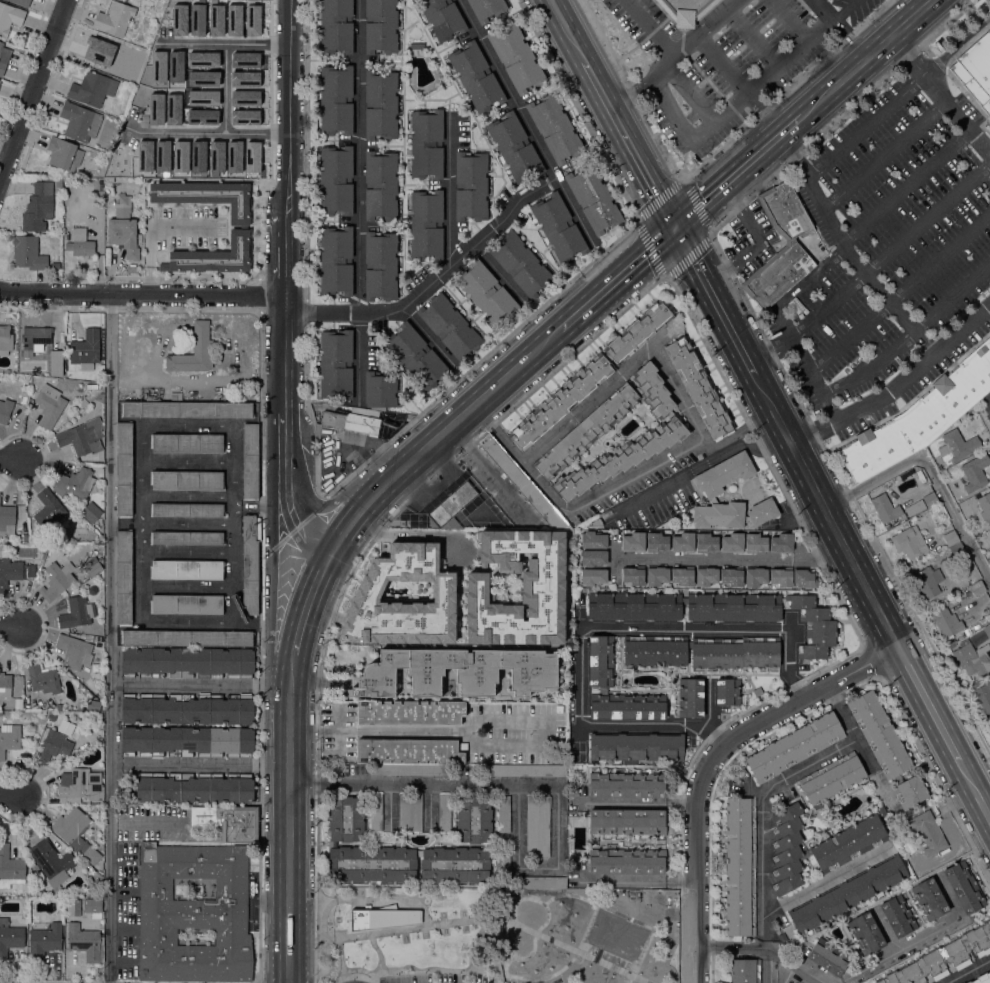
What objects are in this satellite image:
building: (416, 0)
building: (21, 2)
building: (487, 8)
building: (685, 8)
road: (846, 10)
building: (703, 11)
building: (9, 17)
building: (114, 18)
building: (442, 18)
road: (790, 21)
building: (380, 26)
building: (336, 27)
road: (650, 27)
road: (841, 29)
road: (567, 30)
road: (702, 30)
road: (754, 38)
road: (227, 45)
building: (1, 46)
building: (415, 49)
building: (515, 57)
road: (867, 58)
road: (723, 65)
road: (24, 66)
building: (2, 67)
building: (975, 70)
building: (476, 76)
road: (764, 81)
road: (52, 85)
building: (92, 88)
road: (642, 89)
road: (693, 91)
road: (33, 92)
road: (940, 94)
building: (336, 99)
road: (757, 101)
building: (380, 105)
road: (671, 110)
road: (774, 120)
road: (751, 121)
building: (80, 122)
road: (526, 124)
road: (866, 127)
building: (554, 128)
road: (231, 131)
building: (427, 144)
road: (630, 144)
building: (514, 147)
building: (63, 153)
road: (884, 155)
road: (357, 156)
building: (210, 167)
road: (738, 173)
building: (336, 180)
building: (58, 182)
building: (470, 185)
building: (380, 186)
road: (447, 186)
road: (813, 191)
building: (593, 199)
building: (123, 200)
building: (38, 207)
road: (259, 216)
road: (873, 219)
building: (426, 224)
building: (240, 227)
building: (558, 228)
traffic signals: (676, 229)
building: (123, 232)
road: (295, 236)
building: (138, 239)
building: (80, 242)
road: (759, 243)
road: (891, 252)
building: (28, 253)
building: (790, 255)
building: (336, 260)
building: (520, 264)
building: (55, 265)
building: (380, 266)
road: (436, 271)
road: (496, 271)
road: (617, 281)
building: (487, 293)
road: (900, 293)
road: (147, 297)
road: (889, 300)
road: (714, 302)
road: (626, 308)
building: (449, 327)
building: (637, 331)
road: (424, 332)
road: (909, 334)
building: (5, 338)
building: (41, 344)
building: (85, 349)
road: (770, 350)
building: (193, 351)
building: (416, 356)
road: (357, 357)
building: (336, 364)
road: (806, 365)
road: (671, 382)
road: (898, 386)
building: (698, 387)
building: (380, 389)
building: (653, 390)
building: (149, 394)
building: (176, 396)
road: (989, 396)
building: (560, 401)
road: (587, 404)
building: (49, 405)
building: (5, 410)
building: (187, 410)
railway: (468, 416)
building: (919, 418)
building: (353, 420)
building: (586, 431)
building: (82, 437)
road: (435, 442)
building: (187, 443)
building: (953, 447)
building: (619, 458)
road: (12, 459)
building: (250, 461)
road: (701, 466)
building: (123, 469)
road: (929, 470)
building: (724, 473)
building: (974, 473)
building: (187, 480)
building: (76, 482)
building: (521, 483)
road: (608, 488)
building: (930, 499)
building: (884, 505)
building: (985, 507)
building: (451, 508)
building: (49, 509)
building: (187, 510)
building: (91, 512)
road: (826, 512)
road: (331, 513)
building: (733, 514)
building: (7, 520)
road: (296, 521)
building: (597, 522)
road: (402, 534)
building: (950, 537)
building: (187, 538)
building: (979, 539)
building: (593, 540)
building: (633, 542)
building: (656, 542)
building: (683, 542)
building: (706, 542)
building: (732, 542)
building: (909, 542)
building: (755, 543)
building: (782, 543)
building: (957, 550)
building: (593, 558)
road: (735, 558)
building: (249, 566)
building: (93, 569)
building: (187, 569)
building: (14, 572)
building: (633, 575)
building: (656, 575)
building: (683, 575)
building: (706, 575)
building: (732, 576)
building: (755, 576)
building: (781, 576)
building: (123, 577)
building: (593, 577)
building: (803, 578)
building: (57, 580)
building: (542, 582)
building: (926, 582)
building: (977, 587)
road: (278, 599)
building: (403, 600)
building: (187, 604)
building: (635, 606)
road: (305, 607)
building: (988, 611)
building: (77, 613)
building: (768, 615)
building: (946, 622)
road: (663, 627)
road: (10, 628)
building: (987, 631)
building: (88, 638)
building: (187, 638)
road: (109, 639)
building: (75, 651)
building: (655, 651)
building: (735, 653)
building: (972, 657)
building: (601, 660)
building: (187, 662)
building: (533, 671)
building: (42, 678)
road: (194, 683)
building: (5, 684)
road: (290, 691)
building: (728, 691)
building: (690, 697)
building: (983, 697)
road: (930, 704)
building: (93, 705)
building: (59, 707)
building: (80, 707)
building: (188, 708)
road: (842, 711)
building: (410, 713)
building: (52, 717)
road: (659, 721)
road: (469, 731)
building: (879, 734)
building: (9, 738)
building: (187, 741)
building: (52, 746)
building: (637, 746)
building: (794, 746)
building: (409, 755)
road: (709, 761)
road: (808, 762)
road: (199, 764)
building: (523, 770)
building: (832, 777)
road: (422, 783)
building: (81, 785)
building: (627, 785)
building: (195, 787)
road: (975, 788)
building: (910, 791)
road: (12, 794)
road: (635, 801)
road: (389, 805)
road: (429, 806)
building: (376, 812)
building: (409, 812)
building: (444, 812)
building: (504, 814)
building: (346, 818)
building: (473, 820)
building: (228, 821)
building: (627, 821)
building: (537, 826)
building: (927, 831)
building: (75, 833)
building: (849, 843)
building: (787, 848)
building: (805, 853)
road: (288, 855)
building: (52, 861)
building: (626, 861)
building: (503, 863)
building: (371, 864)
building: (455, 864)
road: (537, 866)
building: (740, 866)
building: (34, 867)
building: (10, 868)
road: (635, 878)
road: (826, 879)
building: (540, 882)
building: (964, 887)
building: (208, 890)
building: (848, 894)
building: (930, 899)
building: (93, 905)
road: (481, 905)
building: (73, 907)
building: (193, 914)
building: (897, 915)
building: (382, 918)
road: (681, 928)
road: (884, 929)
road: (397, 930)
building: (866, 932)
park: (497, 935)
park: (616, 935)
building: (781, 936)
building: (9, 937)
road: (916, 939)
building: (44, 941)
building: (86, 942)
road: (733, 945)
road: (578, 952)
building: (828, 957)
building: (944, 958)
road: (787, 965)
road: (966, 970)
building: (745, 971)
road: (786, 975)
parking lot: (450, 977)
parking lot: (407, 978)
building: (981, 978)
parking lot: (487, 979)
building: (962, 982)

